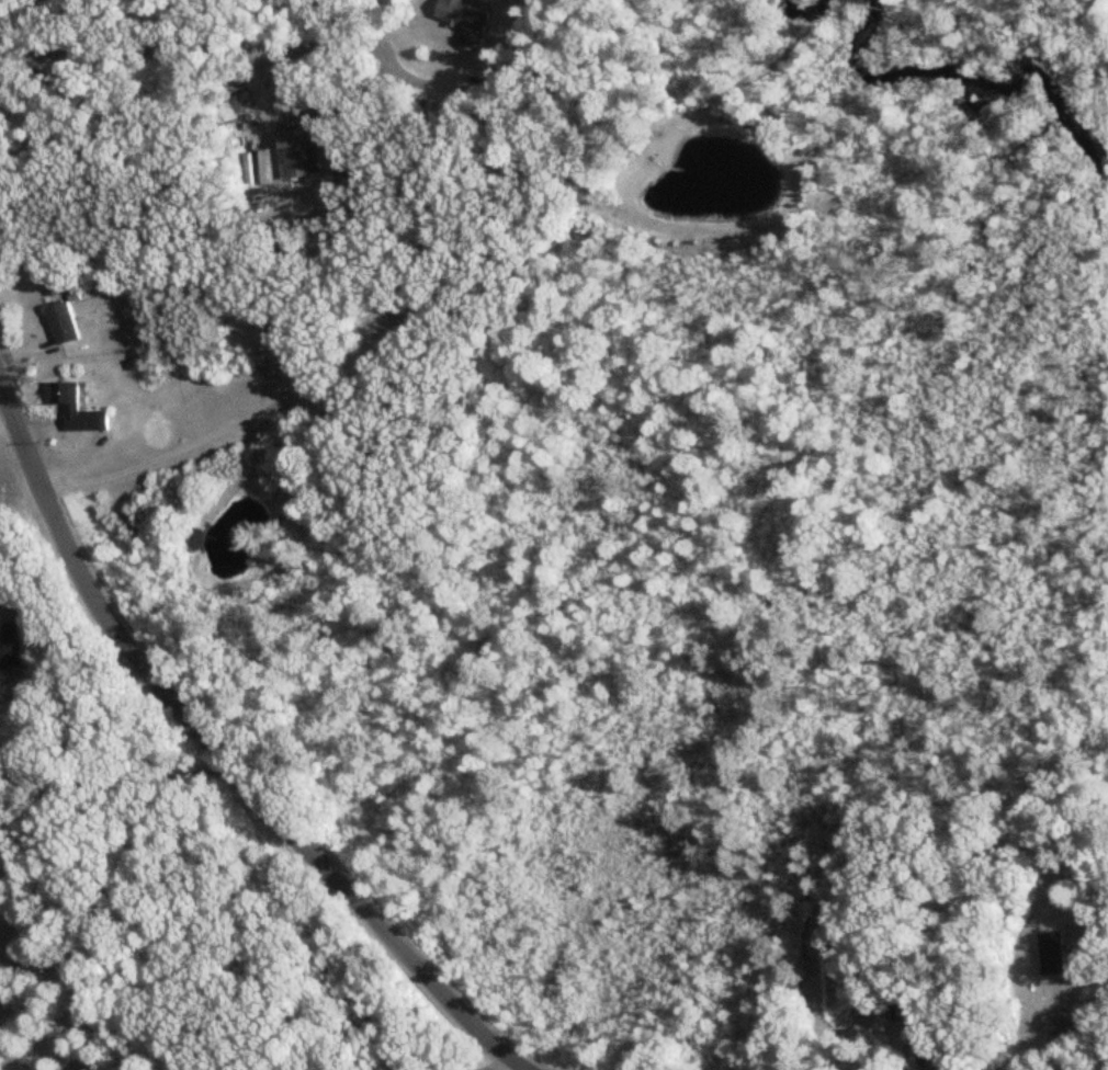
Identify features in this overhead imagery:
building: (466, 21)
road: (188, 49)
building: (298, 161)
building: (63, 323)
building: (76, 408)
road: (7, 414)
road: (169, 451)
building: (11, 645)
road: (68, 678)
road: (218, 755)
road: (110, 783)
building: (1053, 954)
building: (917, 1012)
building: (1059, 1023)
road: (490, 1063)
building: (866, 1068)

